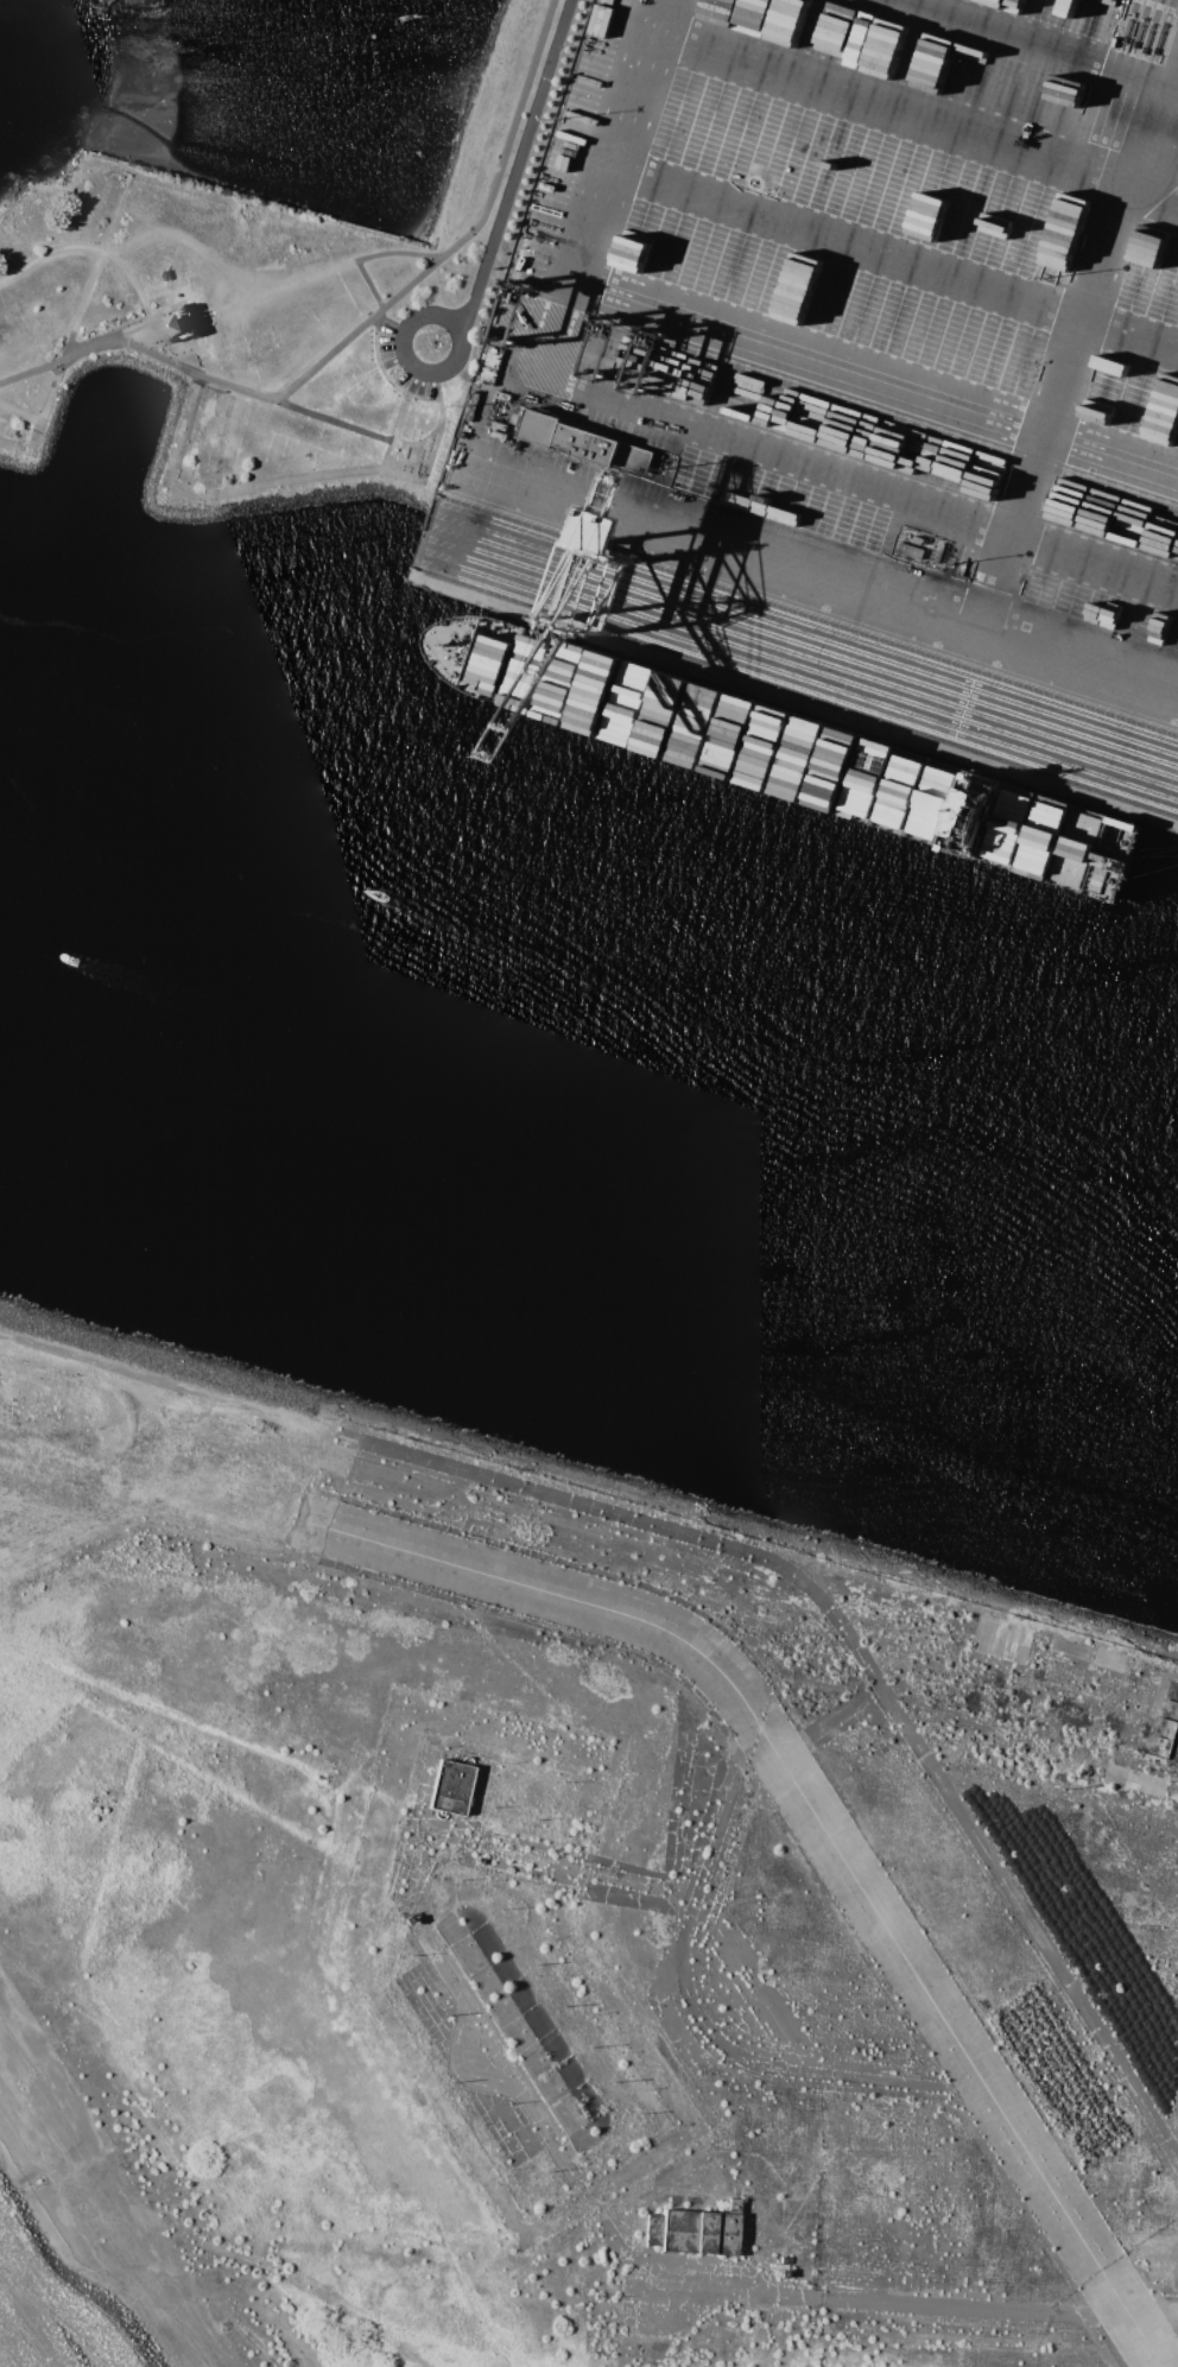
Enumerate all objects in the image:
building: (1040, 10)
building: (1065, 13)
building: (758, 14)
building: (1094, 18)
road: (1056, 37)
building: (589, 61)
building: (587, 95)
road: (520, 115)
road: (921, 116)
road: (520, 165)
building: (929, 210)
building: (1149, 240)
road: (107, 257)
road: (899, 260)
road: (315, 277)
road: (368, 286)
road: (188, 304)
park: (278, 305)
road: (375, 315)
building: (177, 324)
road: (392, 327)
road: (71, 329)
road: (1082, 330)
building: (494, 353)
parking lot: (392, 362)
road: (56, 363)
road: (417, 367)
road: (881, 371)
road: (192, 373)
building: (1013, 387)
road: (20, 413)
building: (1165, 414)
road: (678, 418)
road: (335, 423)
building: (584, 443)
road: (270, 485)
building: (479, 487)
building: (910, 550)
road: (837, 582)
building: (1134, 626)
building: (576, 682)
river: (589, 1069)
road: (735, 1550)
building: (451, 1787)
building: (693, 2232)

